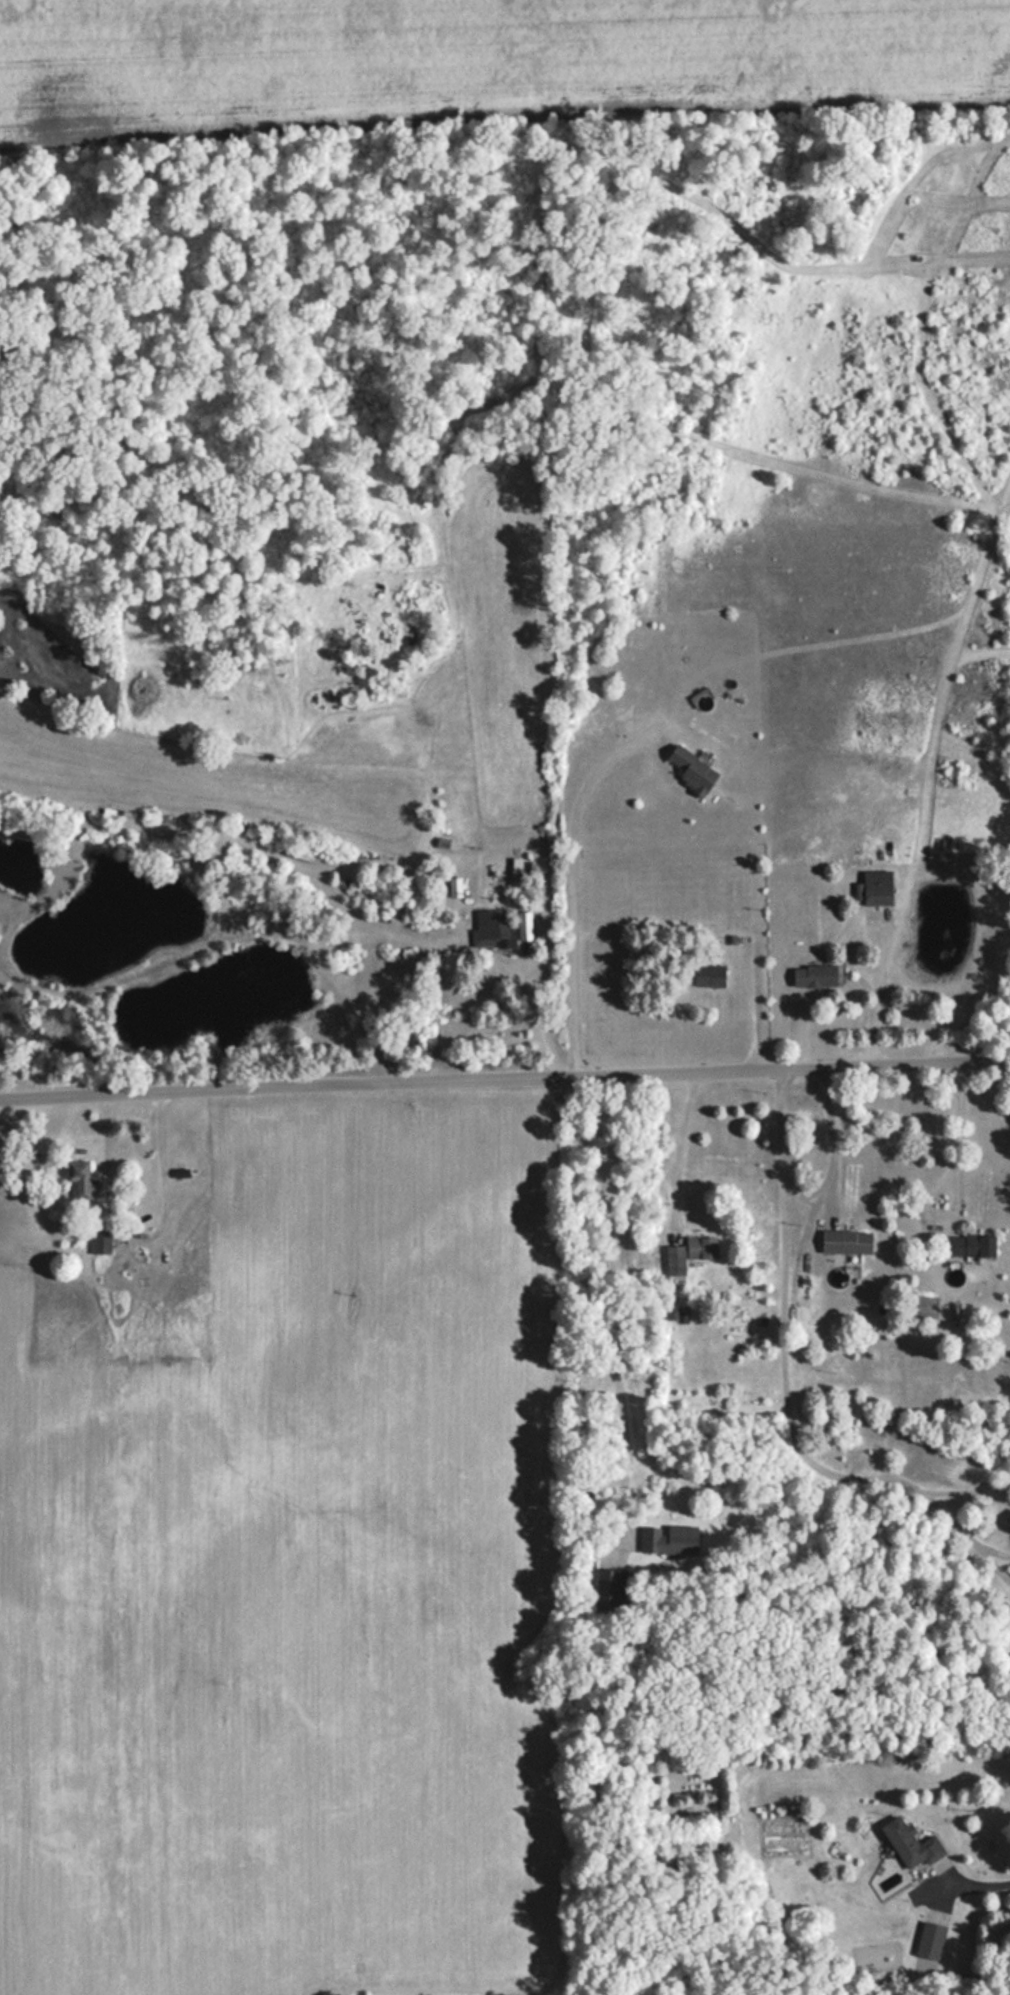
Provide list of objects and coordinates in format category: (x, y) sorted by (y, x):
building: (690, 769)
building: (452, 886)
building: (875, 886)
building: (490, 925)
building: (706, 974)
building: (812, 974)
road: (504, 1073)
building: (79, 1178)
building: (844, 1241)
building: (99, 1242)
building: (967, 1245)
building: (687, 1252)
building: (1009, 1530)
building: (669, 1539)
building: (610, 1589)
building: (909, 1843)
road: (960, 1889)
building: (929, 1940)

